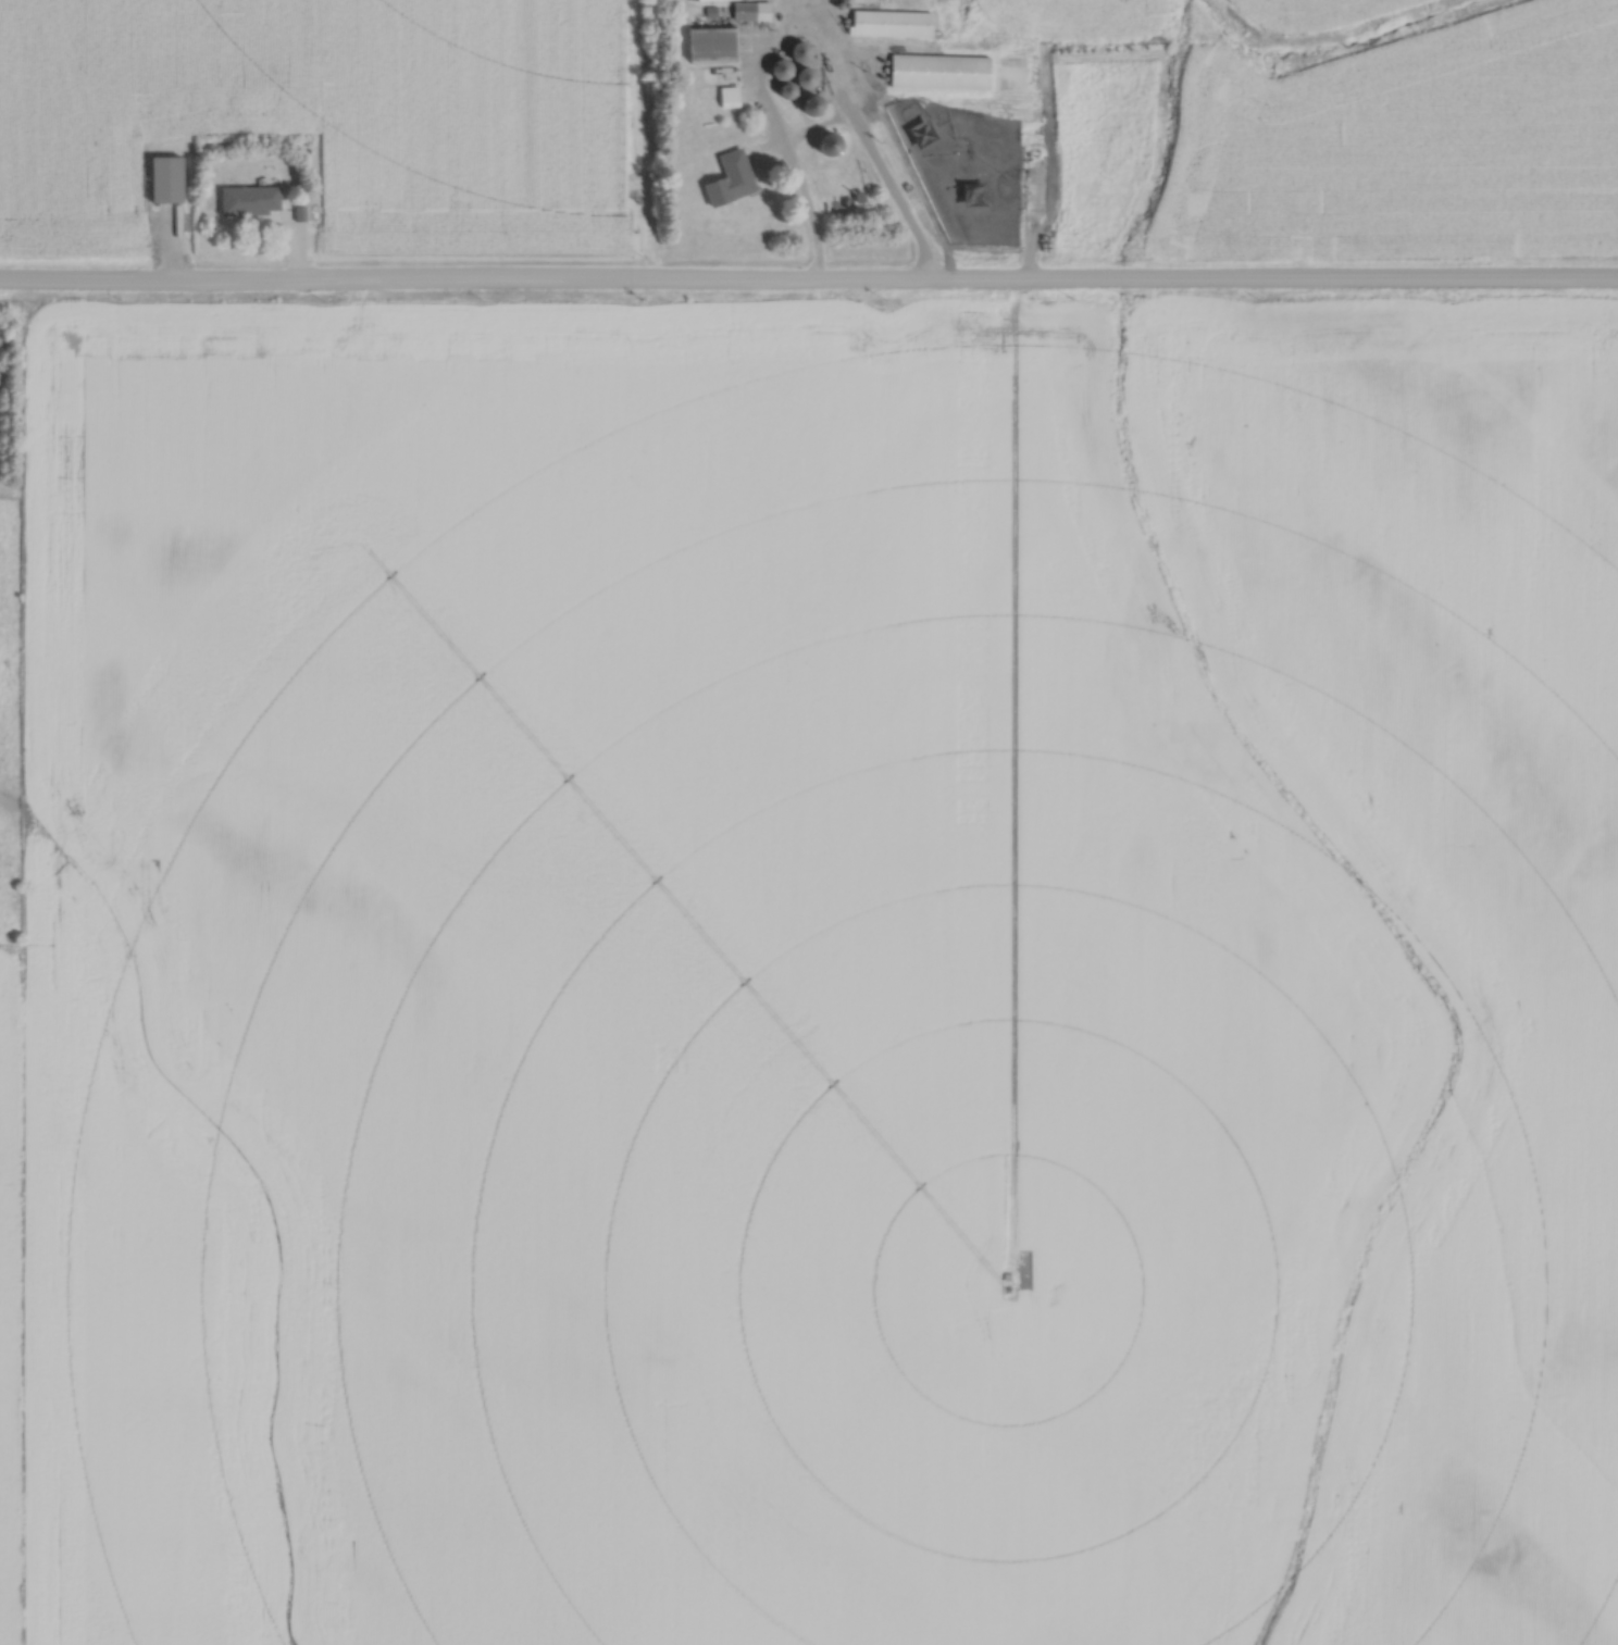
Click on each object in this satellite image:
building: (756, 10)
building: (905, 25)
road: (806, 40)
building: (723, 46)
building: (951, 75)
building: (733, 97)
building: (179, 179)
building: (735, 179)
building: (253, 199)
road: (809, 284)

